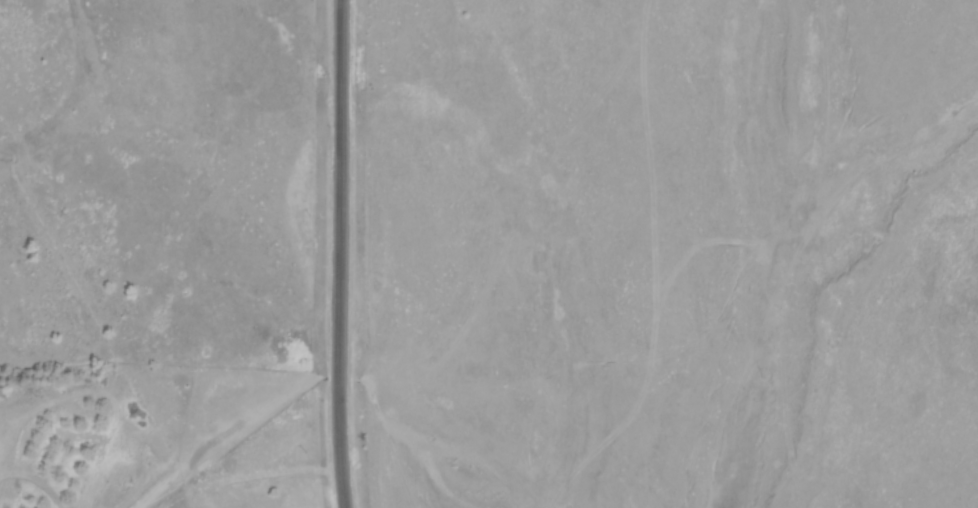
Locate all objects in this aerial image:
road: (341, 254)

